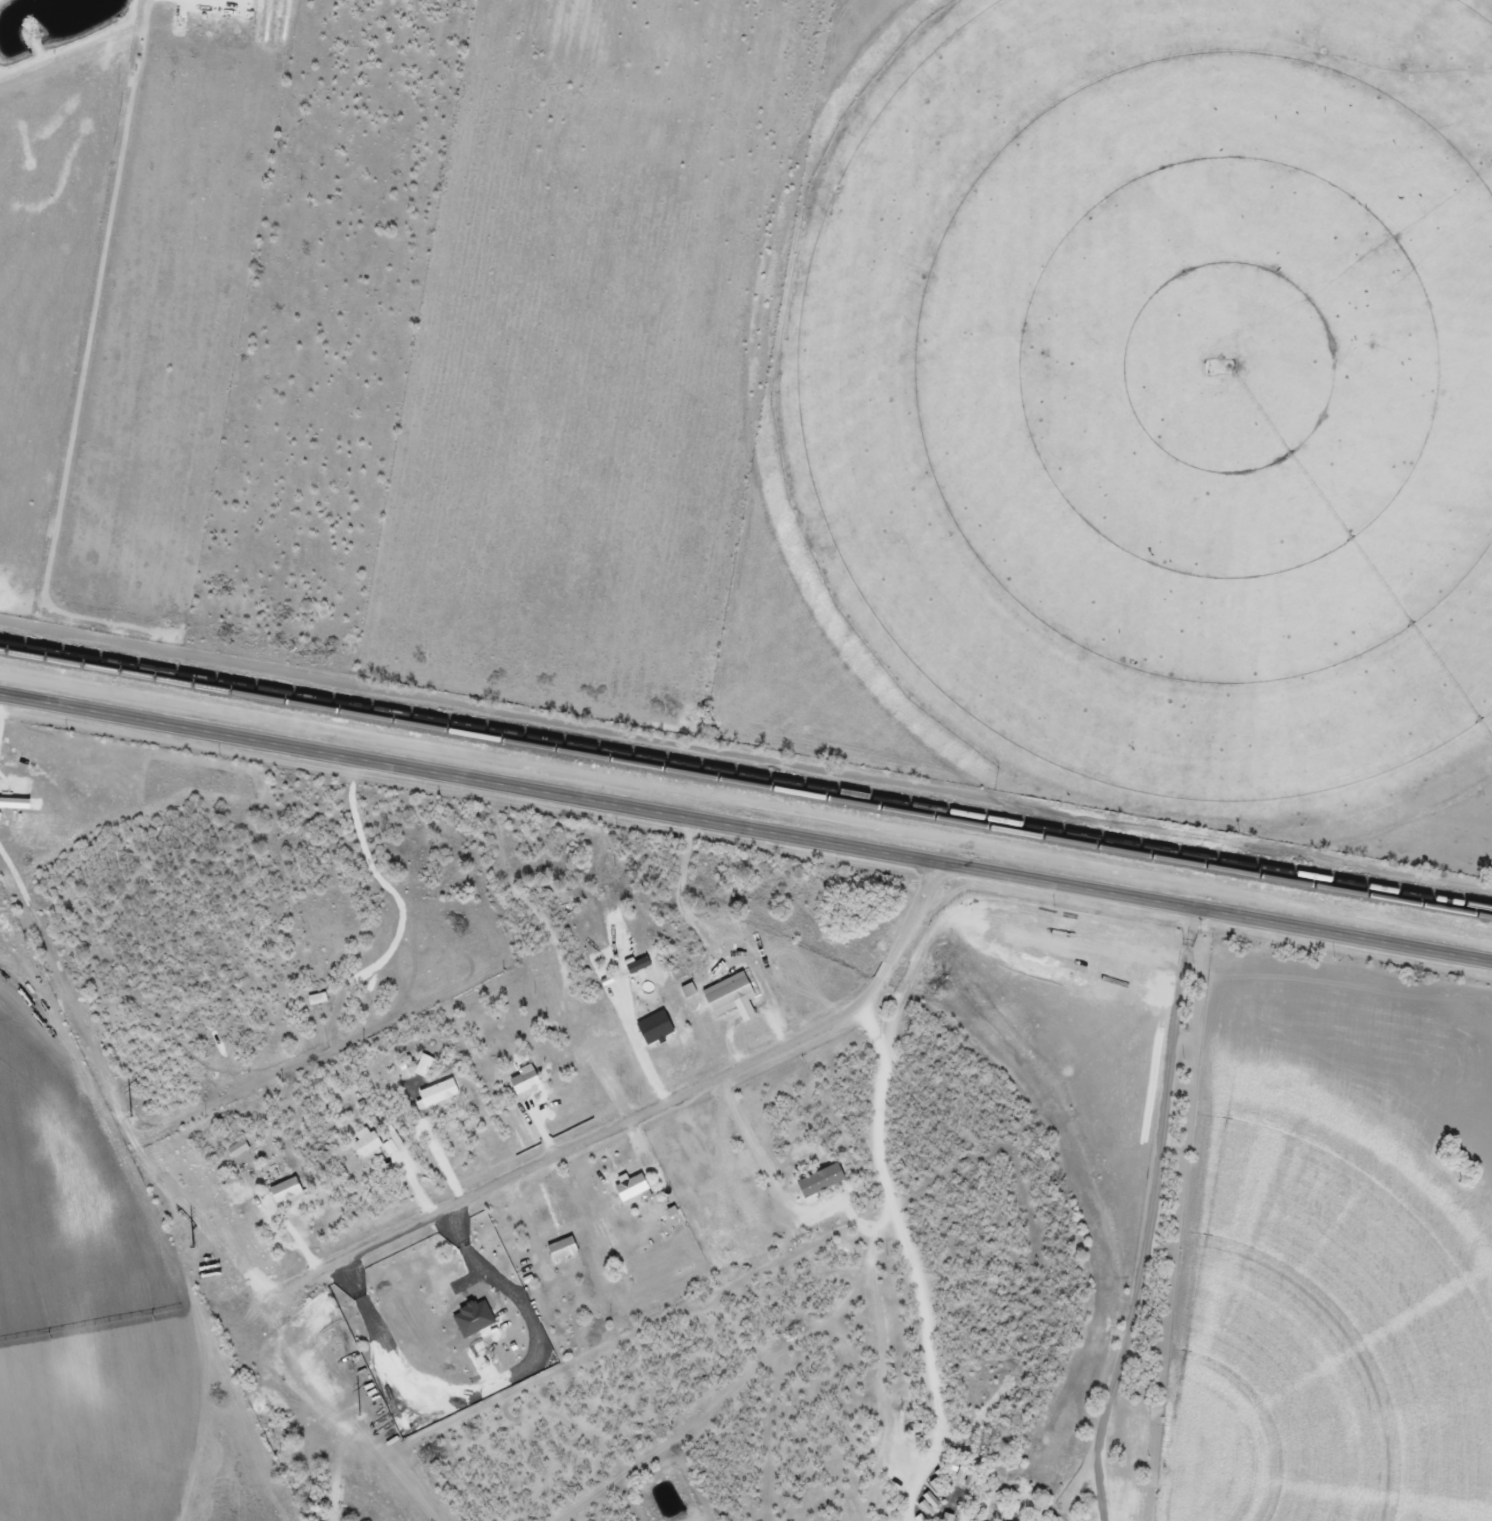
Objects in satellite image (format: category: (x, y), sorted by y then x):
railway: (746, 772)
railway: (746, 783)
road: (746, 824)
building: (730, 996)
building: (316, 999)
building: (423, 1065)
building: (523, 1080)
building: (439, 1092)
road: (643, 1112)
power tower: (133, 1123)
building: (366, 1146)
building: (237, 1148)
building: (630, 1188)
building: (284, 1190)
power tower: (194, 1243)
power tower: (351, 1407)

